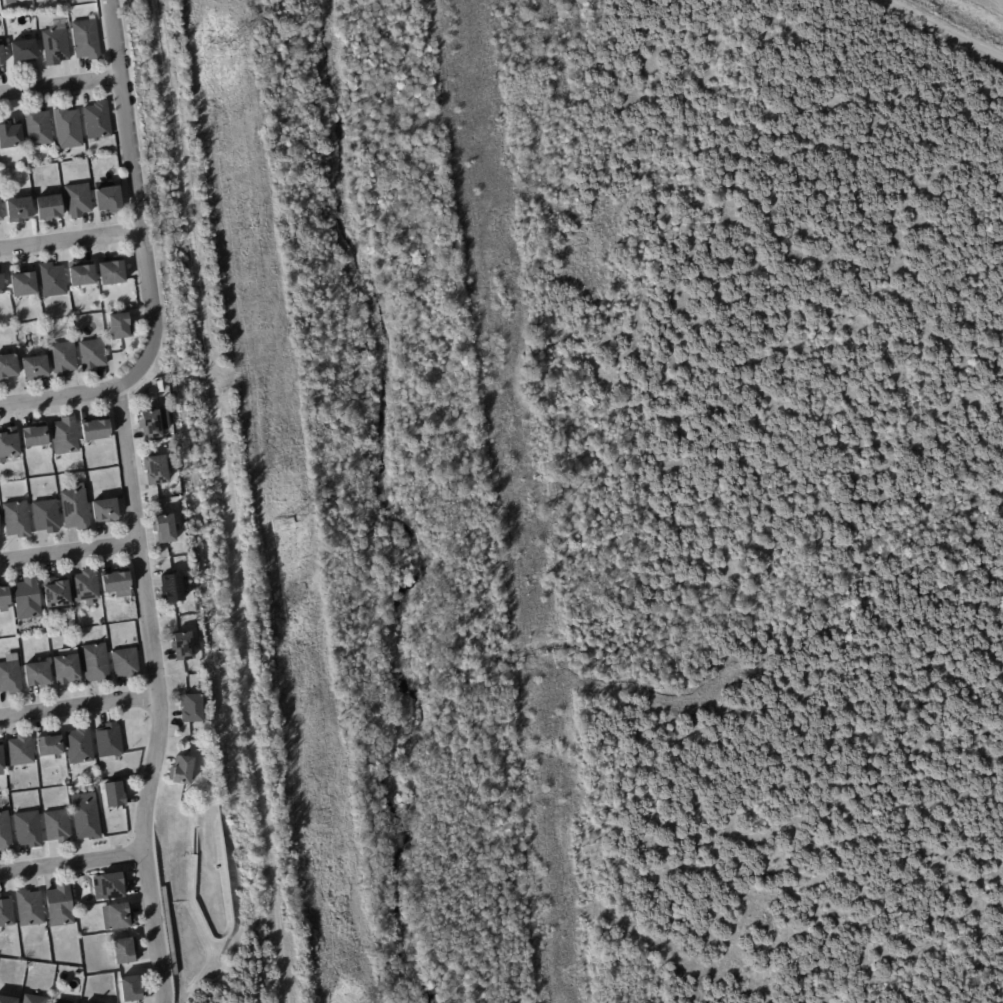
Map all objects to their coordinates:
building: (10, 1)
landfill: (980, 12)
building: (86, 38)
building: (55, 45)
building: (22, 51)
power tower: (223, 52)
building: (1, 54)
road: (60, 86)
building: (97, 119)
building: (38, 127)
building: (67, 128)
building: (10, 134)
building: (108, 199)
building: (78, 200)
building: (48, 207)
building: (19, 208)
building: (1, 212)
road: (70, 240)
road: (145, 259)
building: (111, 272)
building: (80, 274)
building: (52, 279)
building: (1, 283)
building: (22, 283)
building: (120, 325)
building: (92, 354)
building: (62, 358)
building: (7, 366)
building: (33, 367)
building: (150, 423)
building: (95, 429)
building: (34, 434)
building: (65, 435)
building: (9, 442)
building: (156, 470)
building: (75, 507)
building: (105, 510)
building: (45, 516)
building: (18, 519)
power tower: (287, 523)
building: (163, 528)
road: (69, 552)
building: (116, 582)
building: (85, 587)
building: (172, 588)
building: (55, 592)
building: (4, 598)
building: (27, 599)
building: (182, 646)
building: (95, 663)
building: (125, 663)
building: (66, 667)
building: (37, 675)
building: (10, 678)
road: (160, 694)
road: (80, 707)
building: (191, 709)
building: (108, 741)
building: (48, 745)
building: (79, 745)
building: (20, 751)
building: (1, 762)
building: (181, 771)
building: (114, 795)
building: (85, 817)
building: (57, 826)
building: (28, 829)
building: (5, 833)
road: (72, 863)
building: (109, 887)
road: (177, 901)
building: (59, 907)
building: (29, 908)
building: (6, 912)
building: (117, 917)
building: (3, 944)
building: (124, 951)
building: (130, 989)
building: (7, 1000)
building: (34, 1000)

